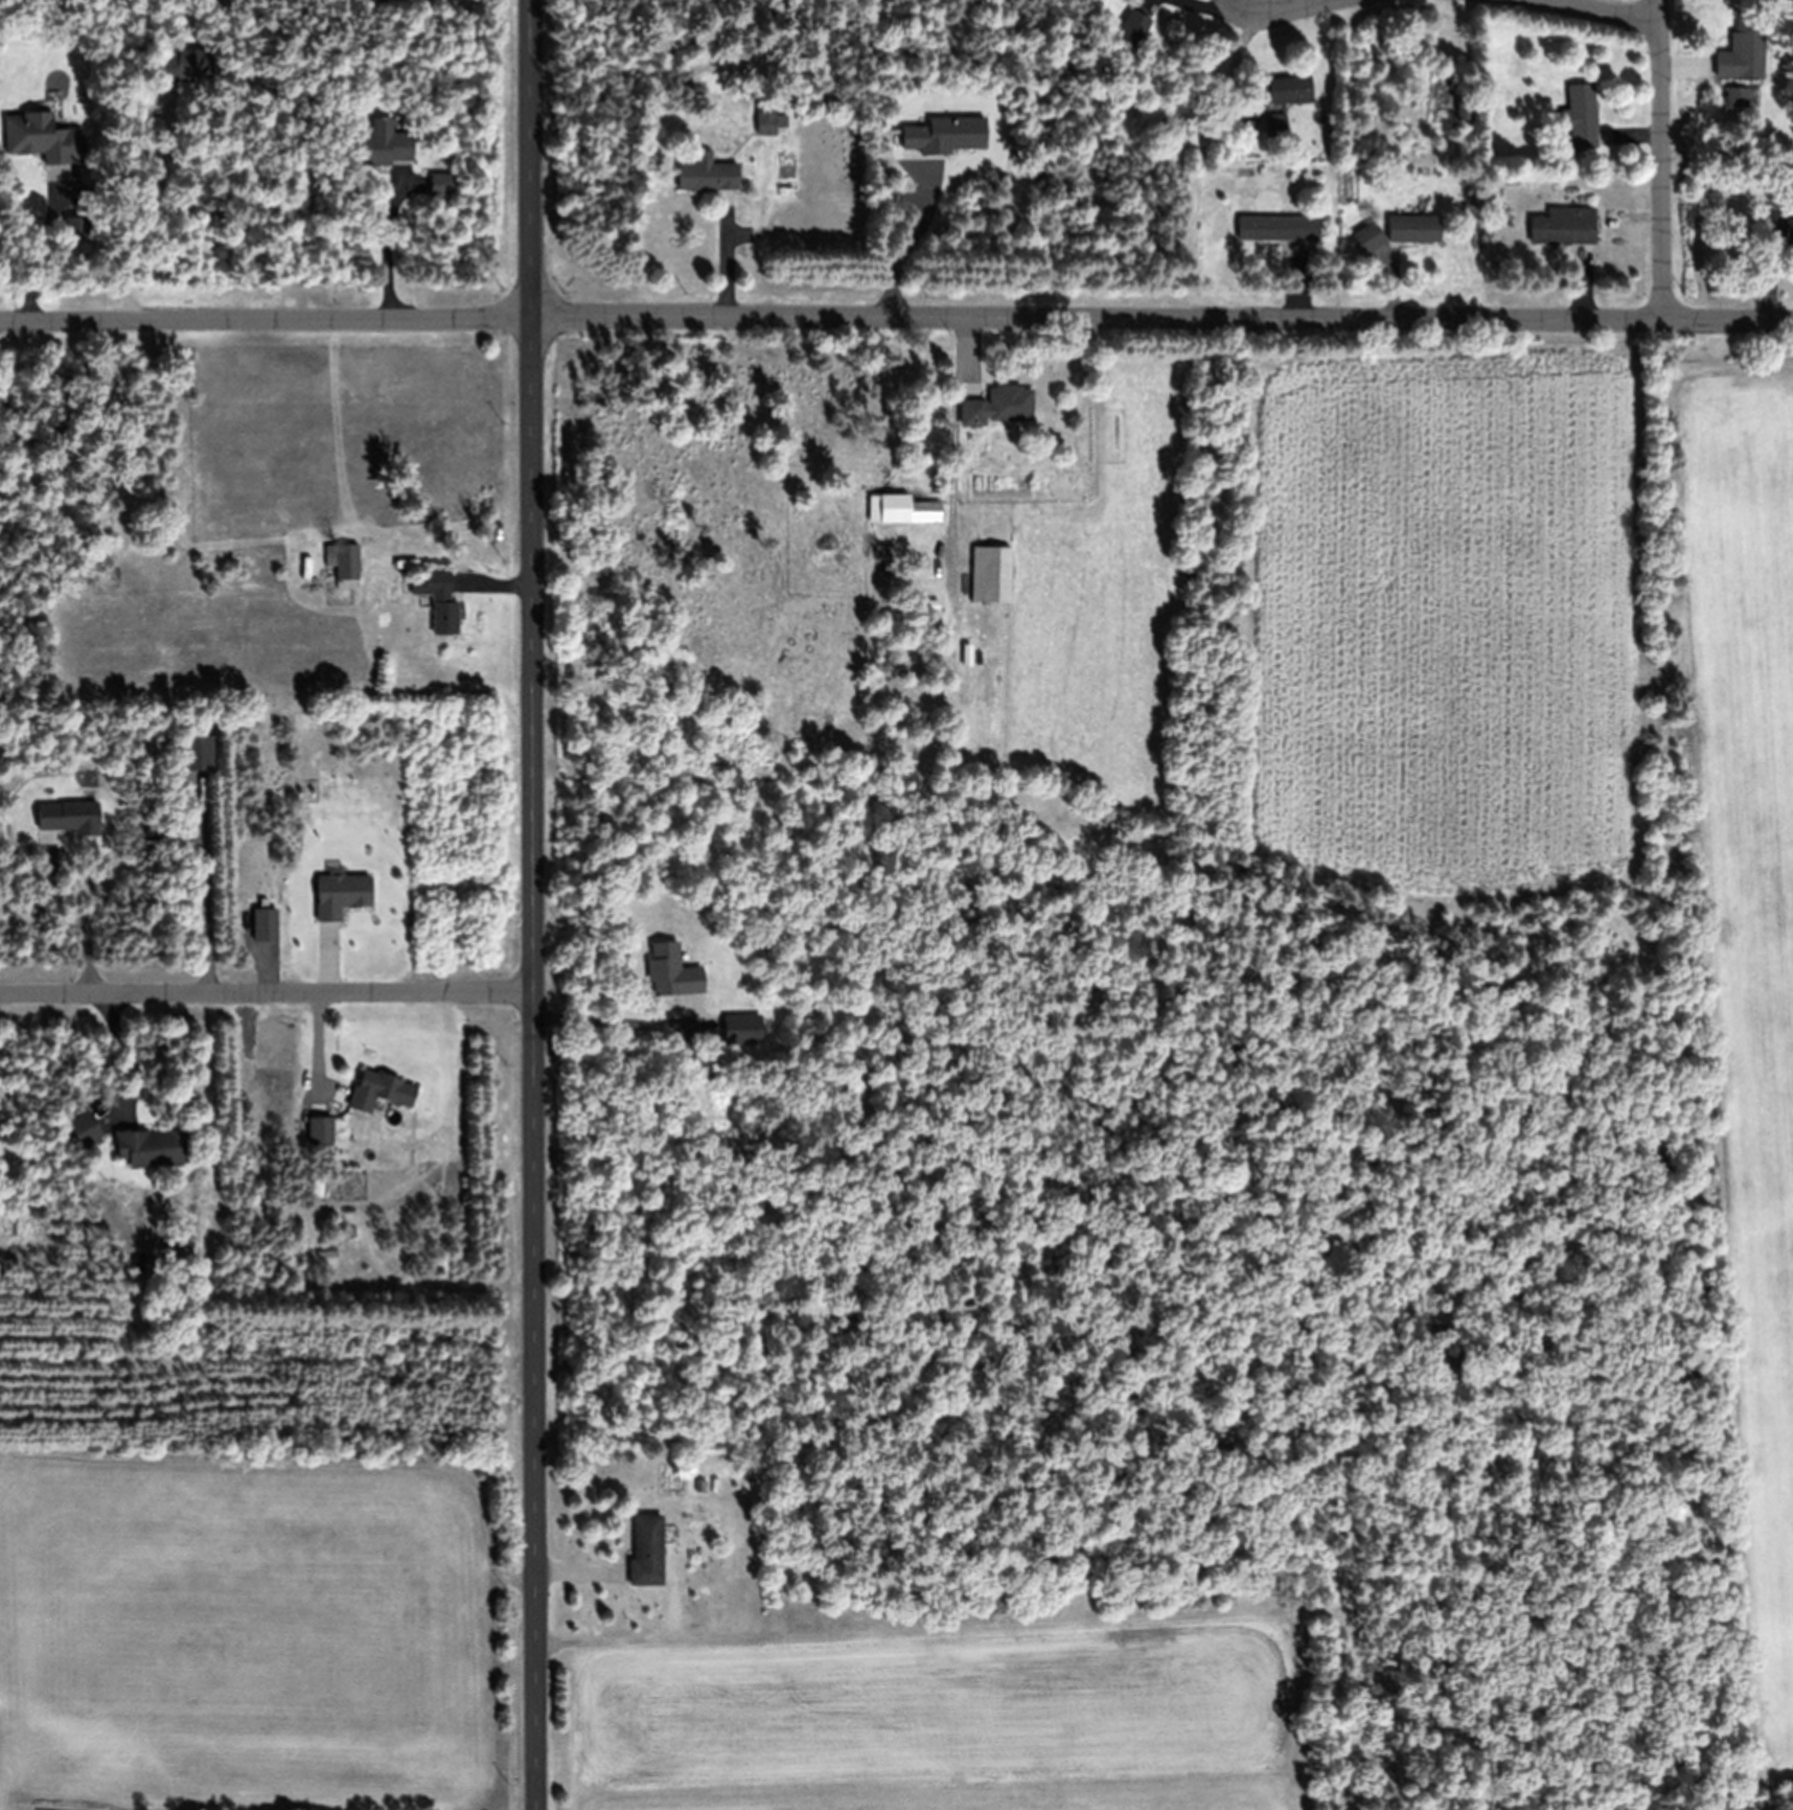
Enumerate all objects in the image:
road: (1295, 2)
road: (1603, 10)
building: (1133, 29)
building: (1750, 47)
building: (188, 66)
building: (1289, 91)
building: (1742, 97)
building: (1580, 117)
building: (770, 118)
building: (1275, 126)
building: (42, 140)
building: (382, 146)
road: (1662, 161)
building: (707, 174)
building: (443, 186)
building: (1565, 226)
building: (1277, 229)
building: (1776, 229)
building: (1414, 230)
building: (76, 231)
building: (1369, 238)
road: (896, 316)
building: (999, 406)
building: (902, 511)
building: (343, 565)
building: (991, 576)
building: (431, 584)
building: (445, 619)
crop: (1243, 624)
building: (67, 819)
building: (340, 895)
road: (533, 904)
building: (672, 972)
road: (267, 993)
building: (742, 1029)
building: (380, 1091)
building: (85, 1130)
building: (319, 1130)
building: (152, 1149)
building: (647, 1550)
crop: (268, 1630)
crop: (938, 1716)

